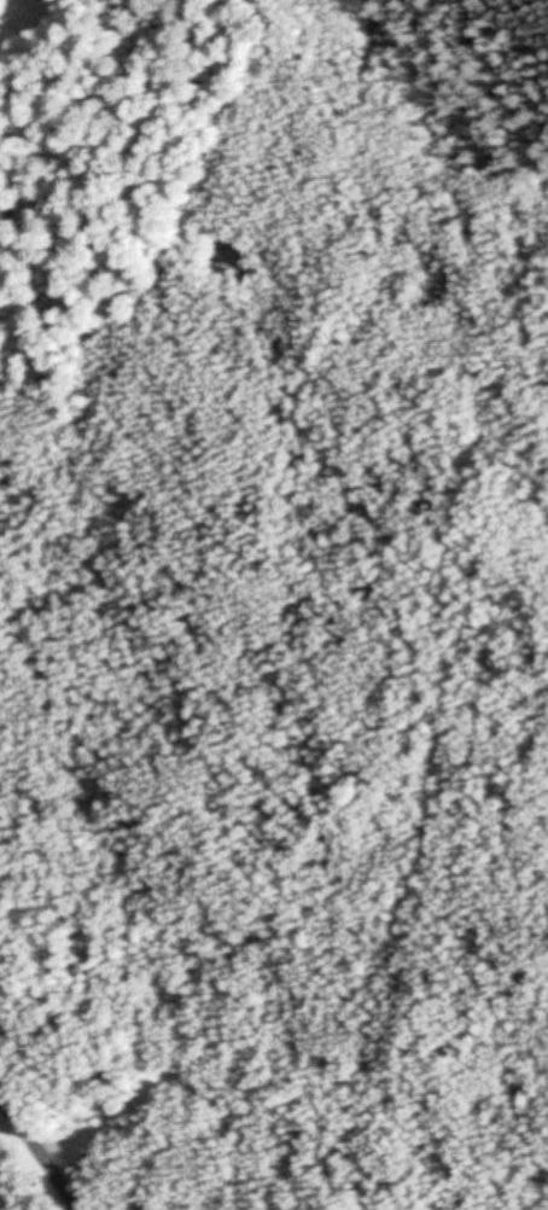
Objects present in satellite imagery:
road: (40, 1153)

